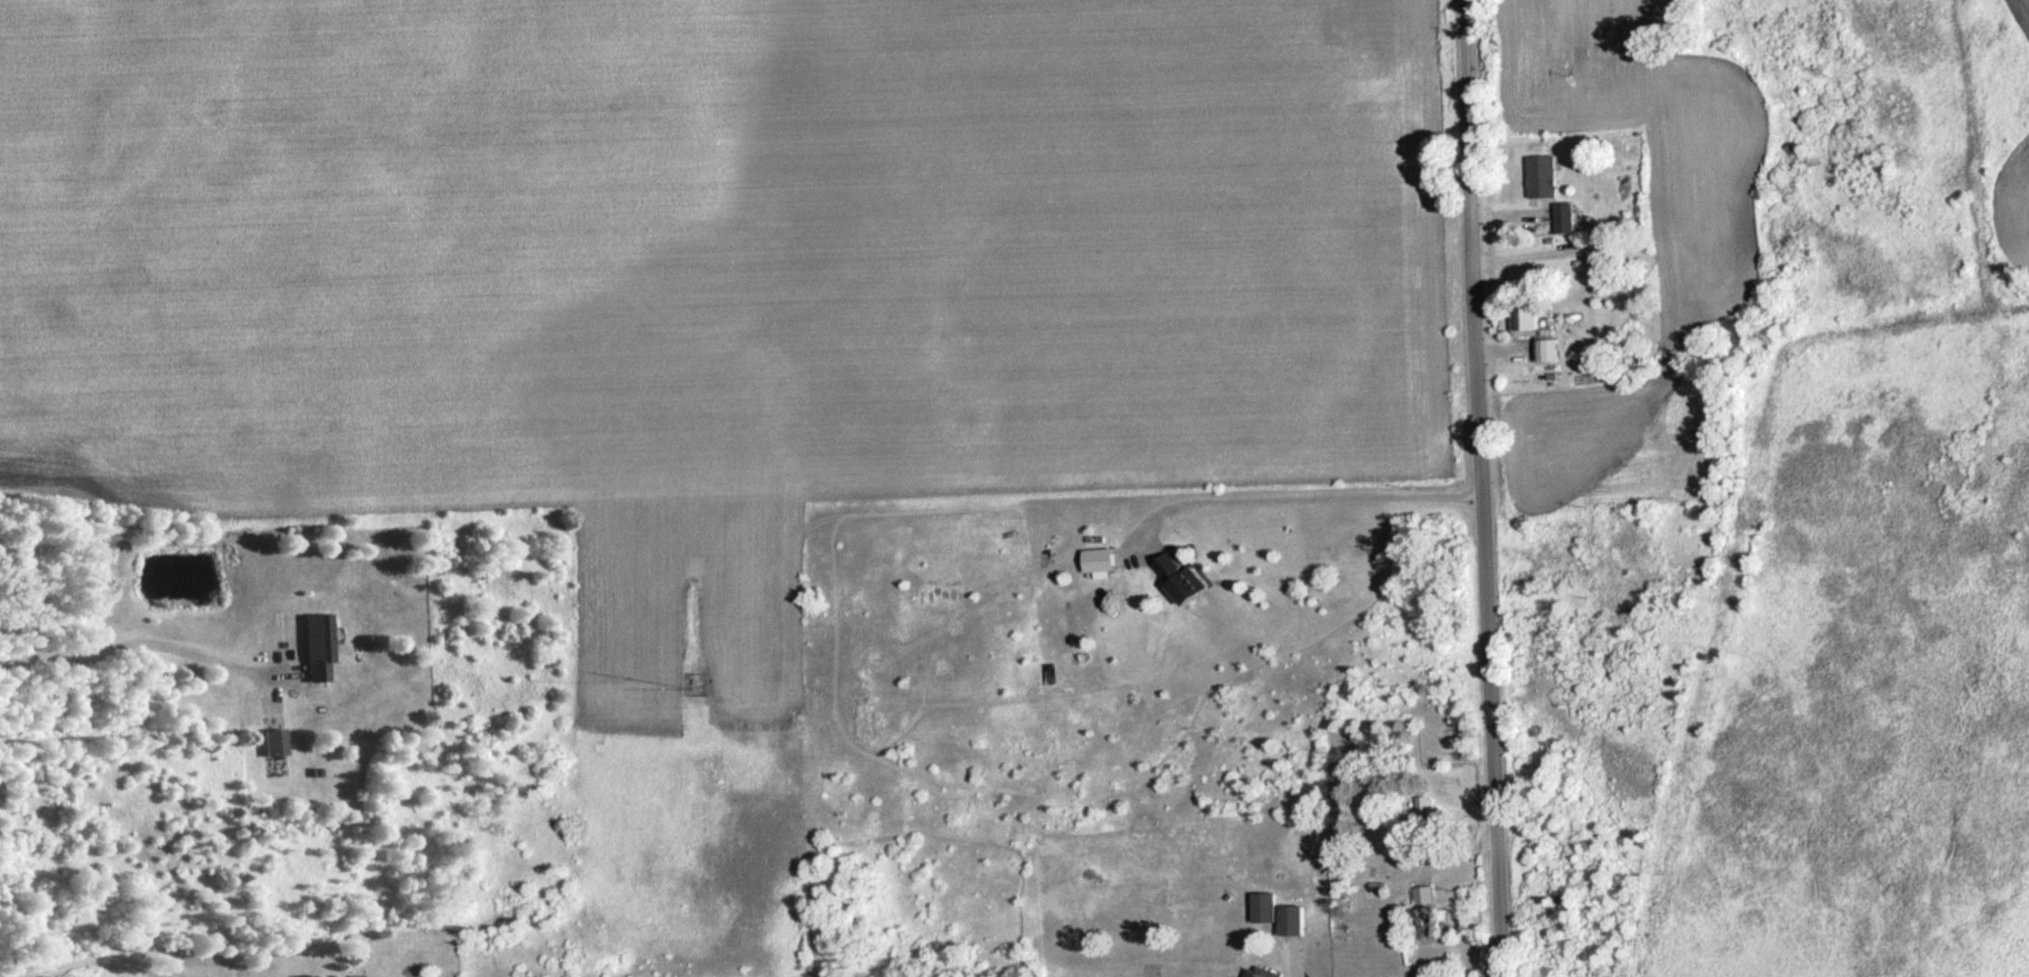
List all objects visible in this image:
building: (1543, 176)
building: (1565, 217)
building: (1612, 246)
building: (1529, 321)
building: (1548, 350)
road: (1483, 488)
building: (320, 647)
building: (275, 740)
building: (1267, 906)
building: (1427, 910)
building: (1296, 919)
building: (1261, 973)

